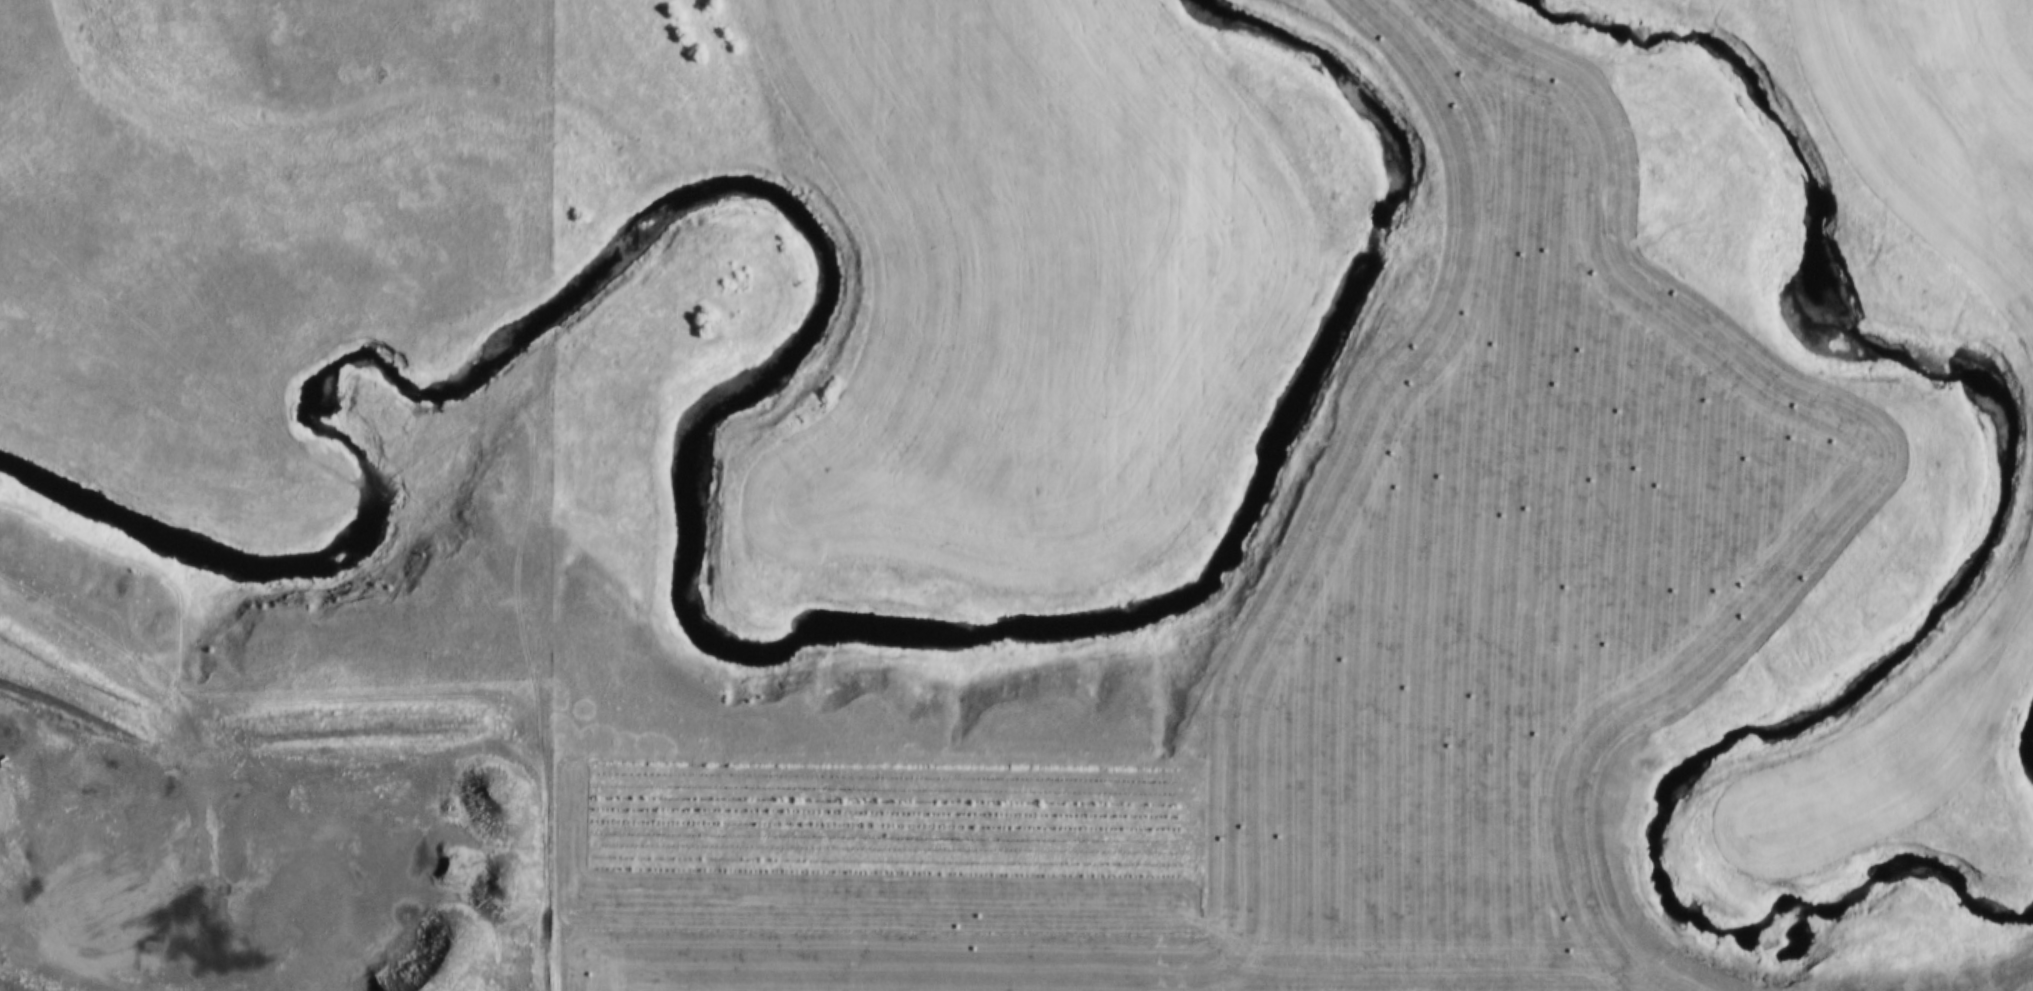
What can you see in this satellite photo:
road: (394, 709)
quarry: (269, 860)

